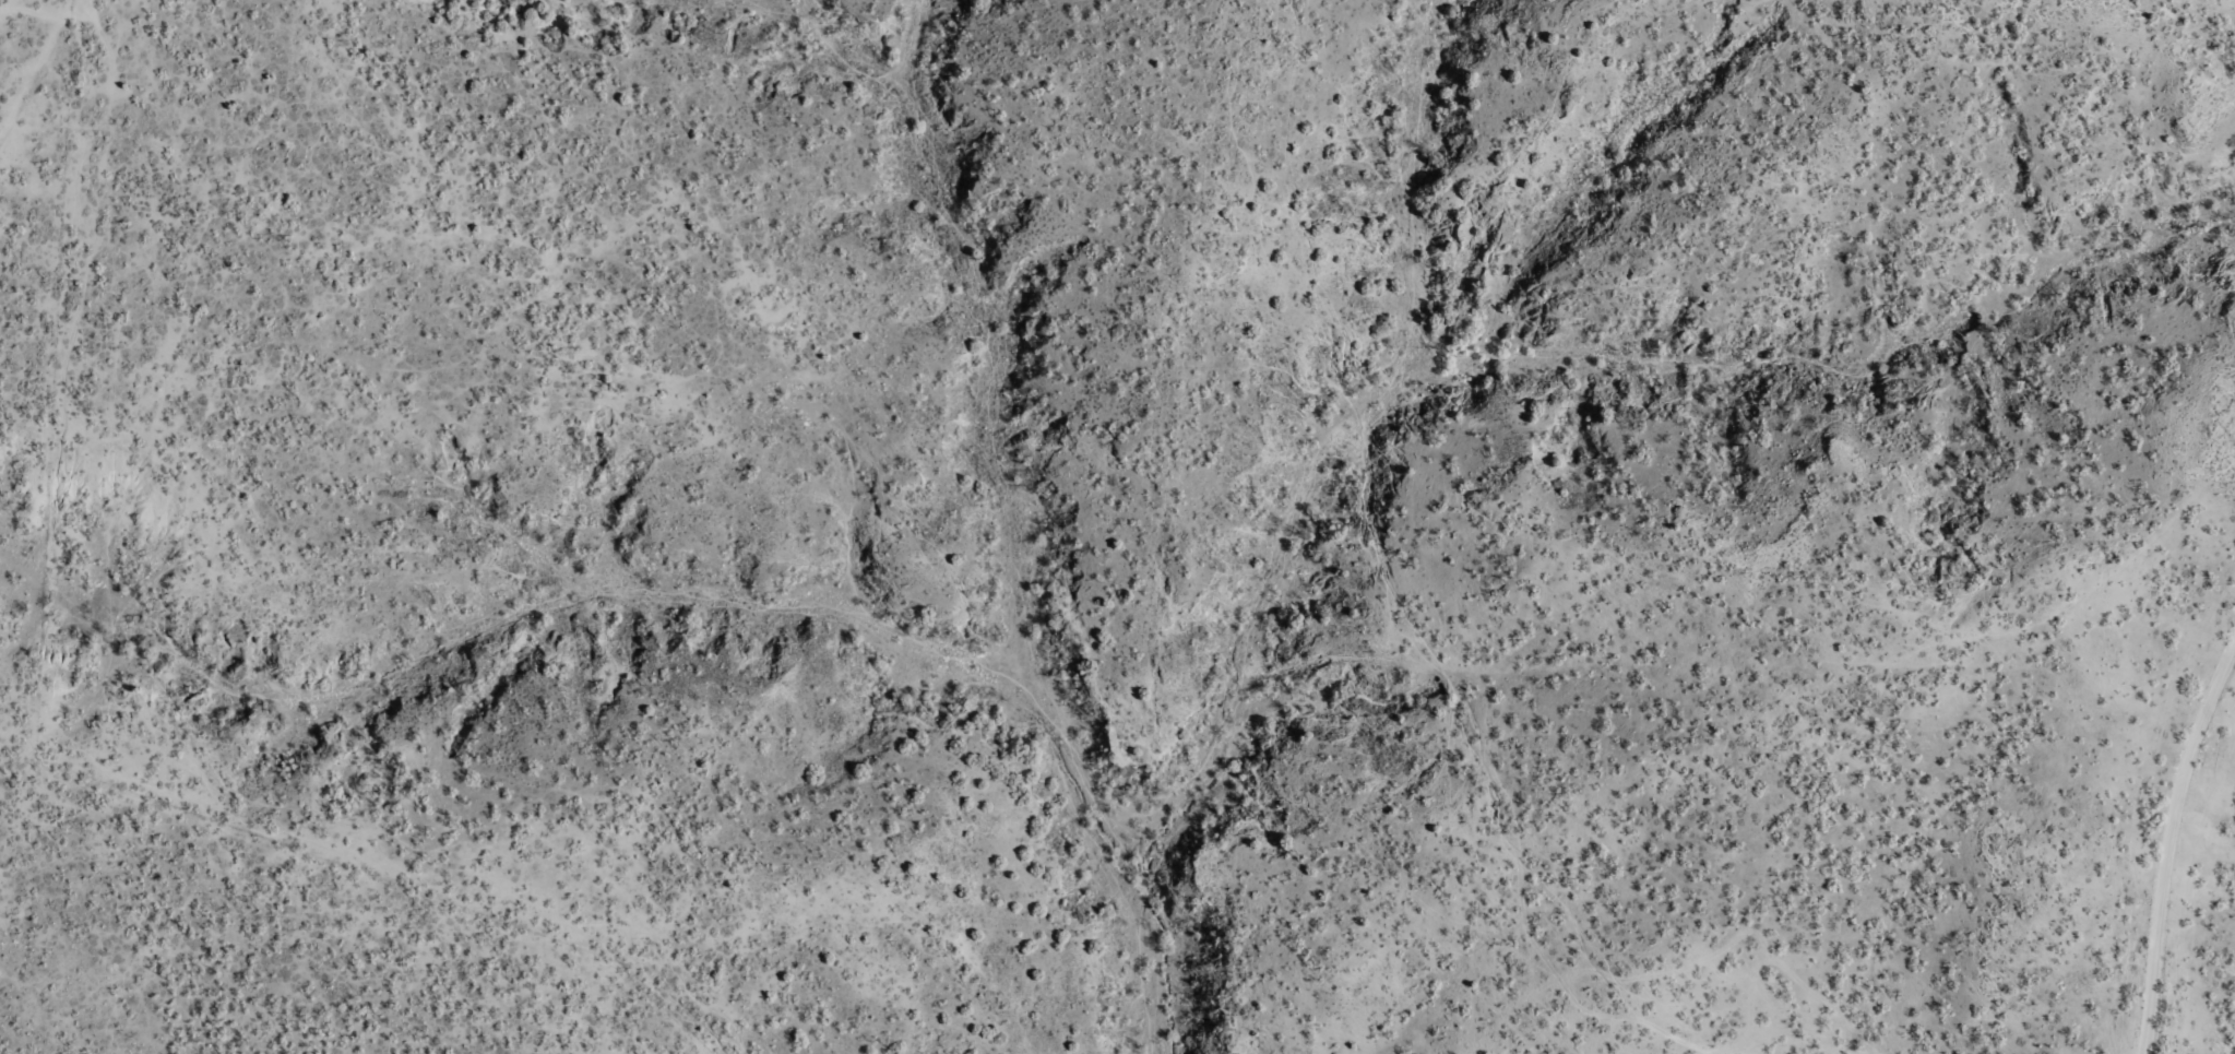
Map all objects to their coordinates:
road: (2177, 876)

